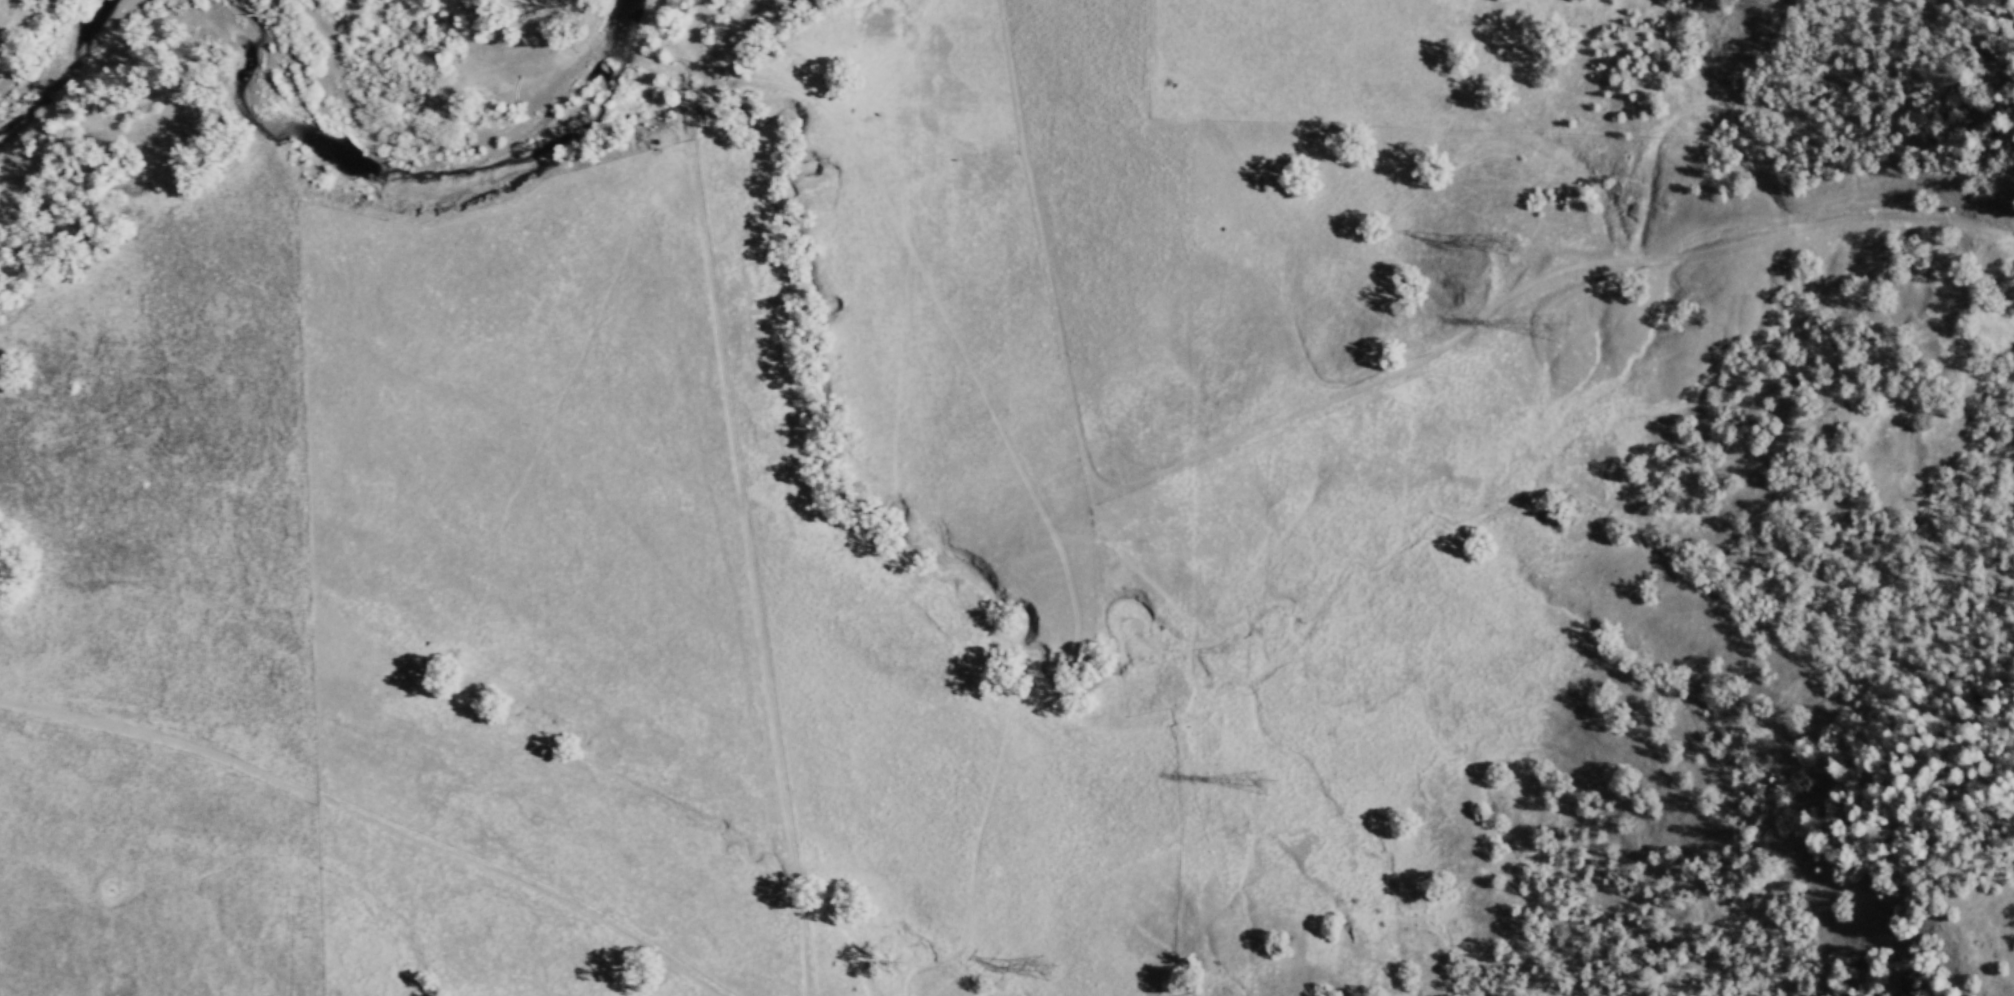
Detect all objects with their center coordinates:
power tower: (1760, 8)
river: (65, 55)
river: (461, 152)
power tower: (1507, 247)
road: (1050, 254)
power tower: (1551, 329)
power tower: (1257, 787)
power tower: (1039, 970)

